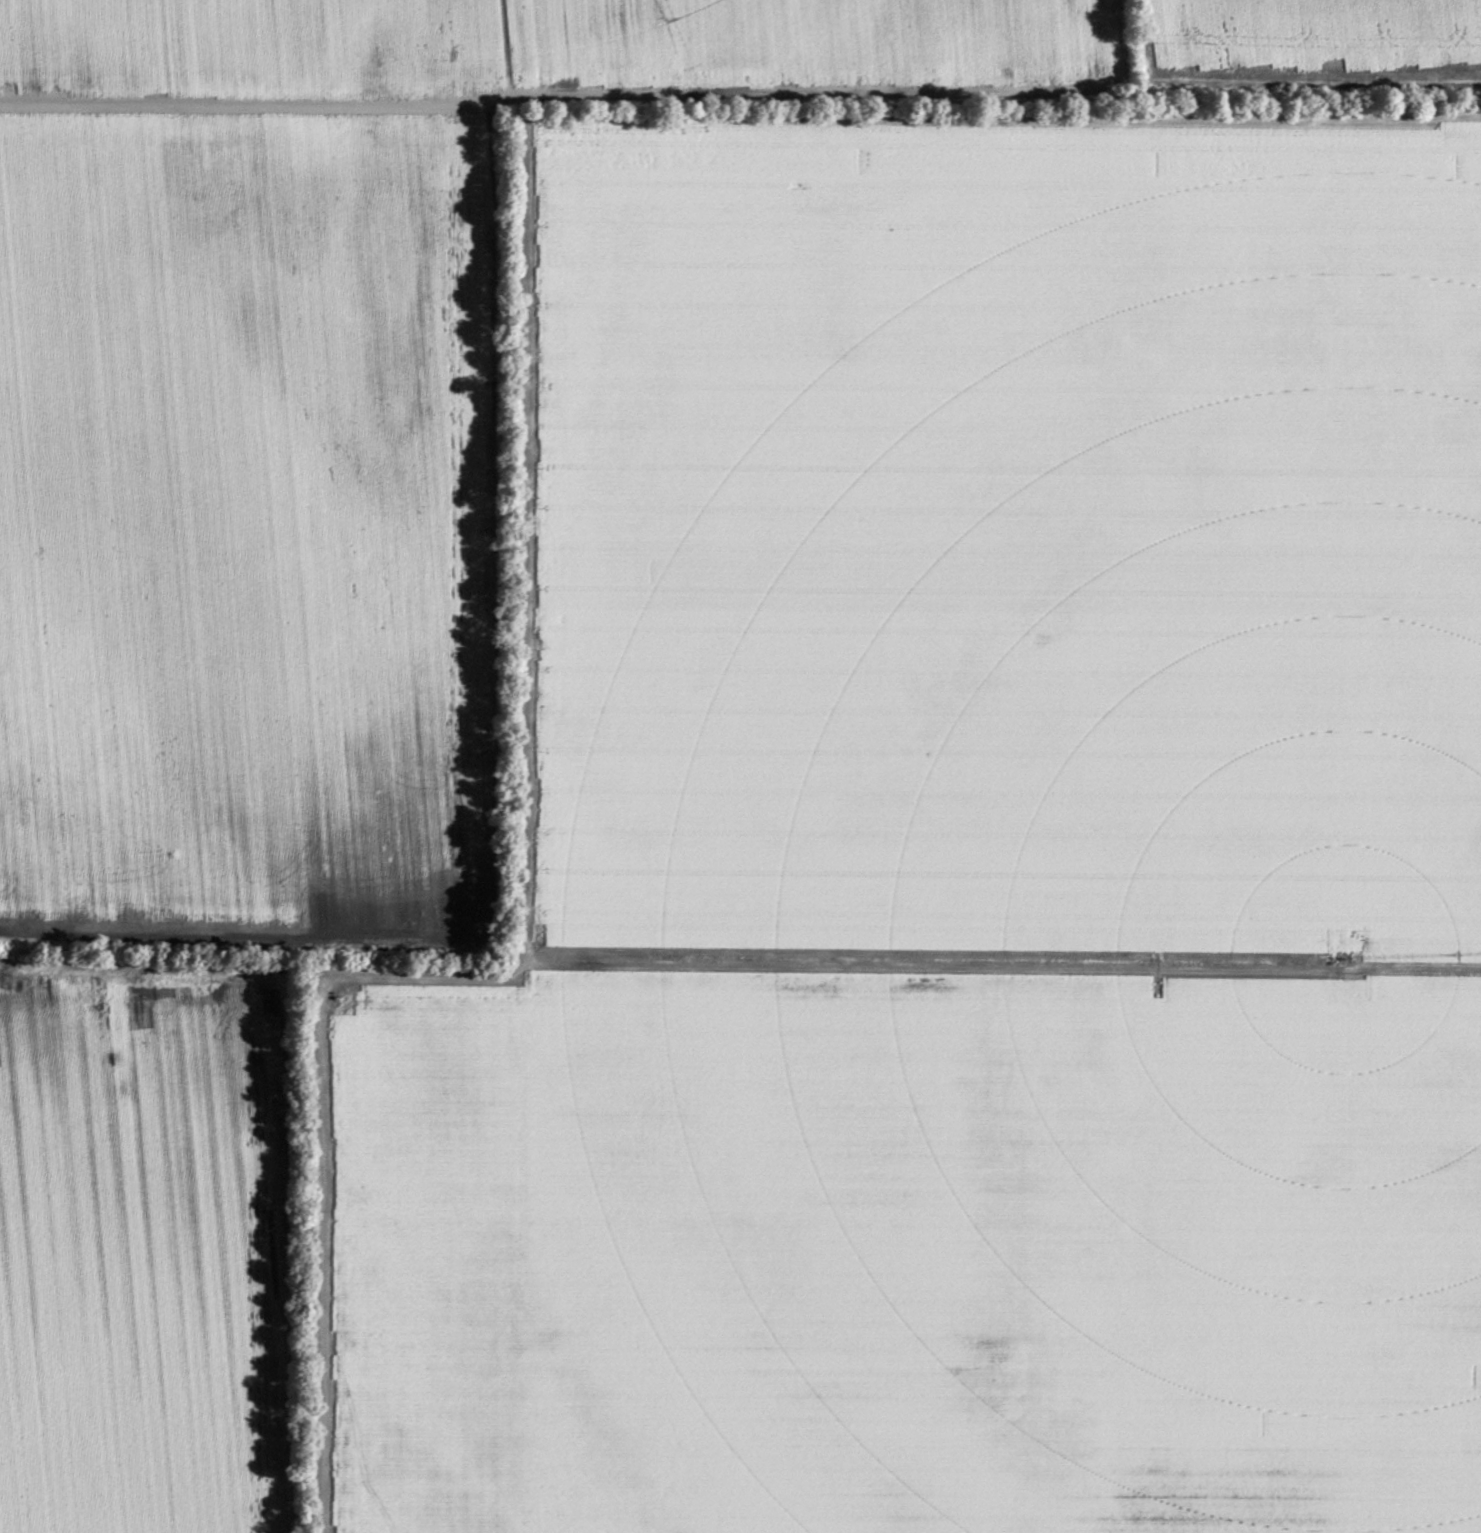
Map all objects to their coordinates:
road: (79, 99)

